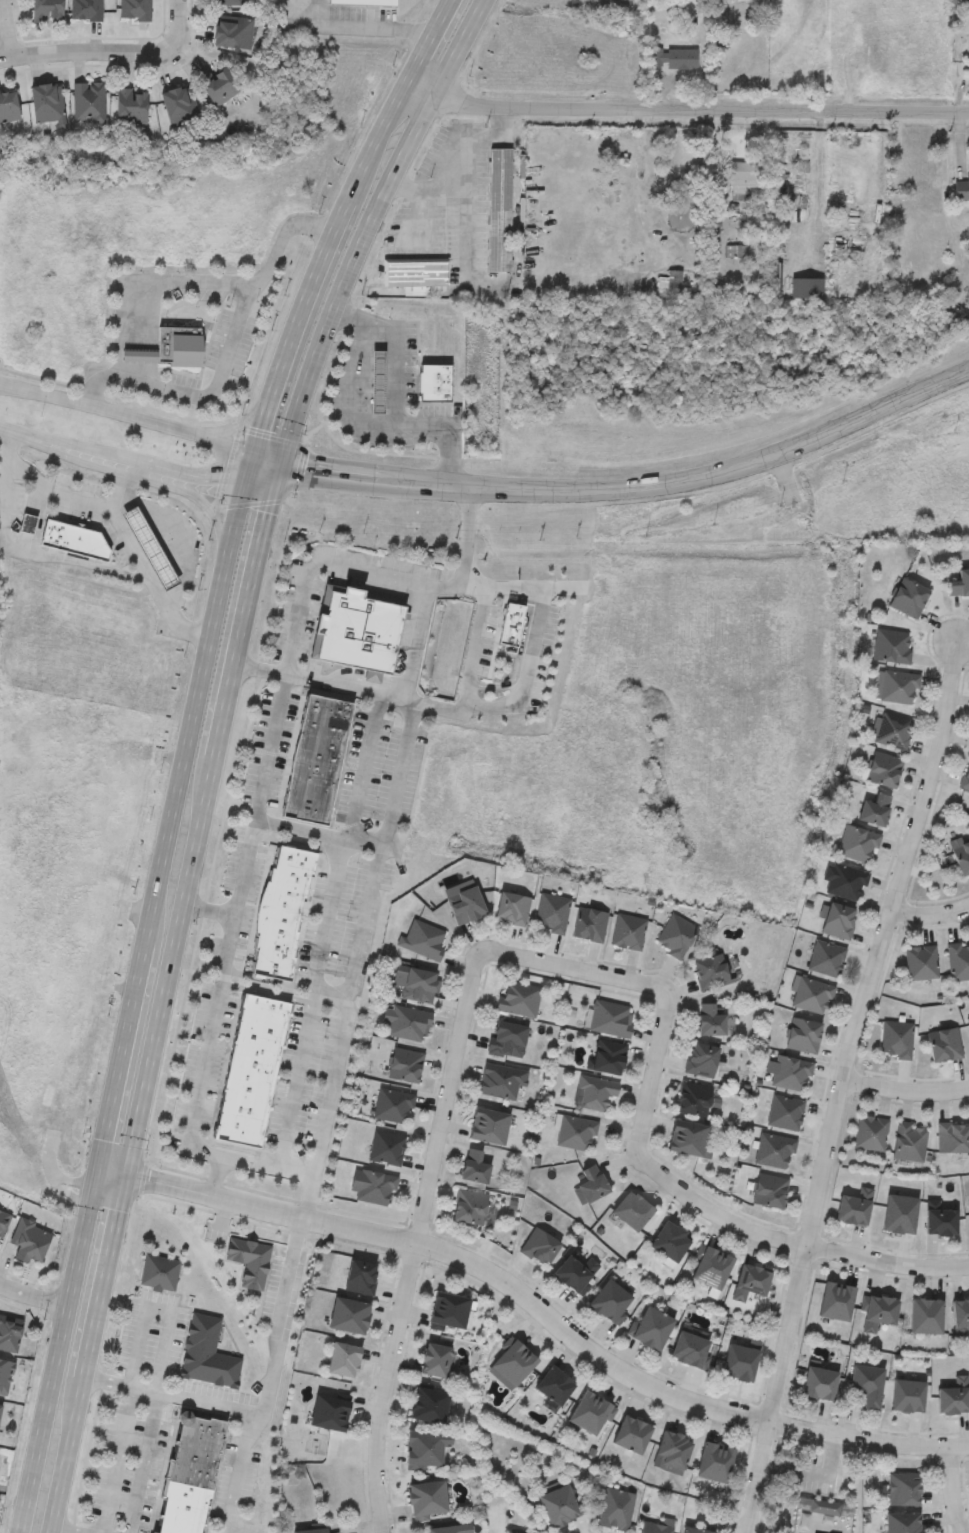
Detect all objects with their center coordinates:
building: (959, 1)
building: (231, 3)
building: (364, 3)
building: (47, 11)
building: (86, 11)
building: (135, 11)
road: (178, 25)
road: (7, 28)
road: (368, 29)
building: (233, 33)
road: (424, 45)
road: (88, 51)
road: (454, 52)
building: (674, 57)
building: (968, 60)
building: (219, 86)
road: (413, 98)
building: (88, 102)
building: (48, 104)
building: (178, 105)
building: (8, 107)
building: (132, 107)
road: (697, 109)
road: (384, 117)
road: (409, 131)
building: (913, 171)
road: (354, 174)
building: (740, 177)
road: (817, 184)
building: (961, 186)
road: (423, 187)
road: (466, 209)
building: (500, 209)
road: (422, 213)
building: (860, 214)
building: (839, 250)
building: (772, 273)
building: (416, 275)
building: (674, 281)
road: (329, 304)
road: (292, 324)
building: (171, 350)
road: (227, 353)
building: (379, 380)
gas station: (379, 380)
building: (433, 381)
road: (351, 391)
road: (396, 395)
road: (125, 413)
road: (247, 416)
road: (5, 428)
road: (66, 448)
traffic signals: (250, 448)
road: (264, 452)
traffic signals: (279, 456)
road: (300, 465)
road: (181, 477)
road: (281, 483)
traffic signals: (241, 484)
road: (655, 484)
traffic signals: (272, 485)
road: (117, 489)
road: (186, 492)
road: (117, 519)
building: (28, 525)
road: (175, 538)
building: (74, 539)
building: (150, 548)
gas station: (150, 548)
road: (34, 553)
road: (329, 555)
building: (960, 582)
building: (909, 596)
building: (510, 625)
building: (355, 628)
road: (414, 644)
road: (531, 645)
building: (892, 648)
building: (895, 686)
road: (348, 688)
building: (891, 729)
building: (316, 756)
building: (883, 769)
road: (361, 771)
road: (928, 776)
building: (965, 776)
building: (875, 809)
road: (252, 818)
building: (857, 843)
road: (387, 847)
building: (962, 856)
building: (844, 879)
building: (512, 906)
building: (281, 911)
building: (551, 911)
road: (930, 915)
building: (839, 919)
building: (590, 922)
building: (628, 930)
building: (675, 934)
building: (423, 938)
building: (826, 956)
building: (958, 960)
building: (921, 961)
building: (711, 970)
building: (416, 982)
road: (134, 990)
building: (812, 993)
road: (162, 994)
building: (519, 997)
road: (311, 1009)
road: (663, 1009)
building: (610, 1016)
building: (712, 1019)
building: (968, 1019)
building: (406, 1022)
building: (804, 1033)
road: (342, 1037)
building: (896, 1037)
building: (508, 1038)
building: (944, 1042)
building: (608, 1055)
building: (702, 1057)
building: (405, 1063)
road: (200, 1068)
building: (250, 1069)
building: (791, 1072)
building: (502, 1080)
building: (596, 1090)
road: (902, 1091)
building: (696, 1097)
building: (392, 1104)
building: (785, 1110)
building: (489, 1124)
building: (576, 1131)
building: (870, 1131)
building: (689, 1135)
building: (952, 1135)
building: (909, 1139)
building: (385, 1146)
building: (775, 1148)
building: (475, 1164)
traffic signals: (99, 1166)
road: (267, 1167)
traffic signals: (126, 1174)
building: (592, 1181)
building: (374, 1186)
building: (770, 1189)
building: (470, 1205)
building: (855, 1205)
building: (633, 1208)
building: (900, 1212)
building: (941, 1218)
road: (809, 1219)
building: (4, 1222)
building: (672, 1239)
building: (30, 1242)
building: (540, 1245)
building: (249, 1259)
building: (712, 1265)
building: (577, 1271)
building: (159, 1272)
building: (361, 1275)
building: (751, 1279)
road: (35, 1295)
building: (612, 1299)
building: (836, 1299)
road: (144, 1308)
building: (448, 1309)
road: (536, 1309)
building: (878, 1310)
building: (349, 1313)
building: (960, 1313)
building: (927, 1314)
building: (652, 1326)
building: (10, 1334)
building: (692, 1346)
building: (206, 1352)
building: (344, 1358)
building: (437, 1360)
building: (515, 1360)
building: (740, 1360)
building: (5, 1376)
building: (819, 1381)
building: (867, 1382)
building: (556, 1383)
road: (383, 1388)
building: (908, 1393)
building: (953, 1395)
building: (430, 1403)
building: (0, 1409)
road: (236, 1410)
building: (330, 1411)
building: (591, 1411)
building: (633, 1432)
road: (122, 1435)
building: (427, 1447)
building: (674, 1449)
building: (715, 1461)
road: (238, 1473)
building: (190, 1474)
building: (900, 1489)
road: (950, 1492)
building: (428, 1498)
building: (559, 1504)
building: (824, 1506)
building: (615, 1507)
building: (900, 1522)
building: (655, 1527)
building: (452, 1528)
road: (65, 1529)
building: (312, 1530)
building: (696, 1530)
building: (510, 1532)

